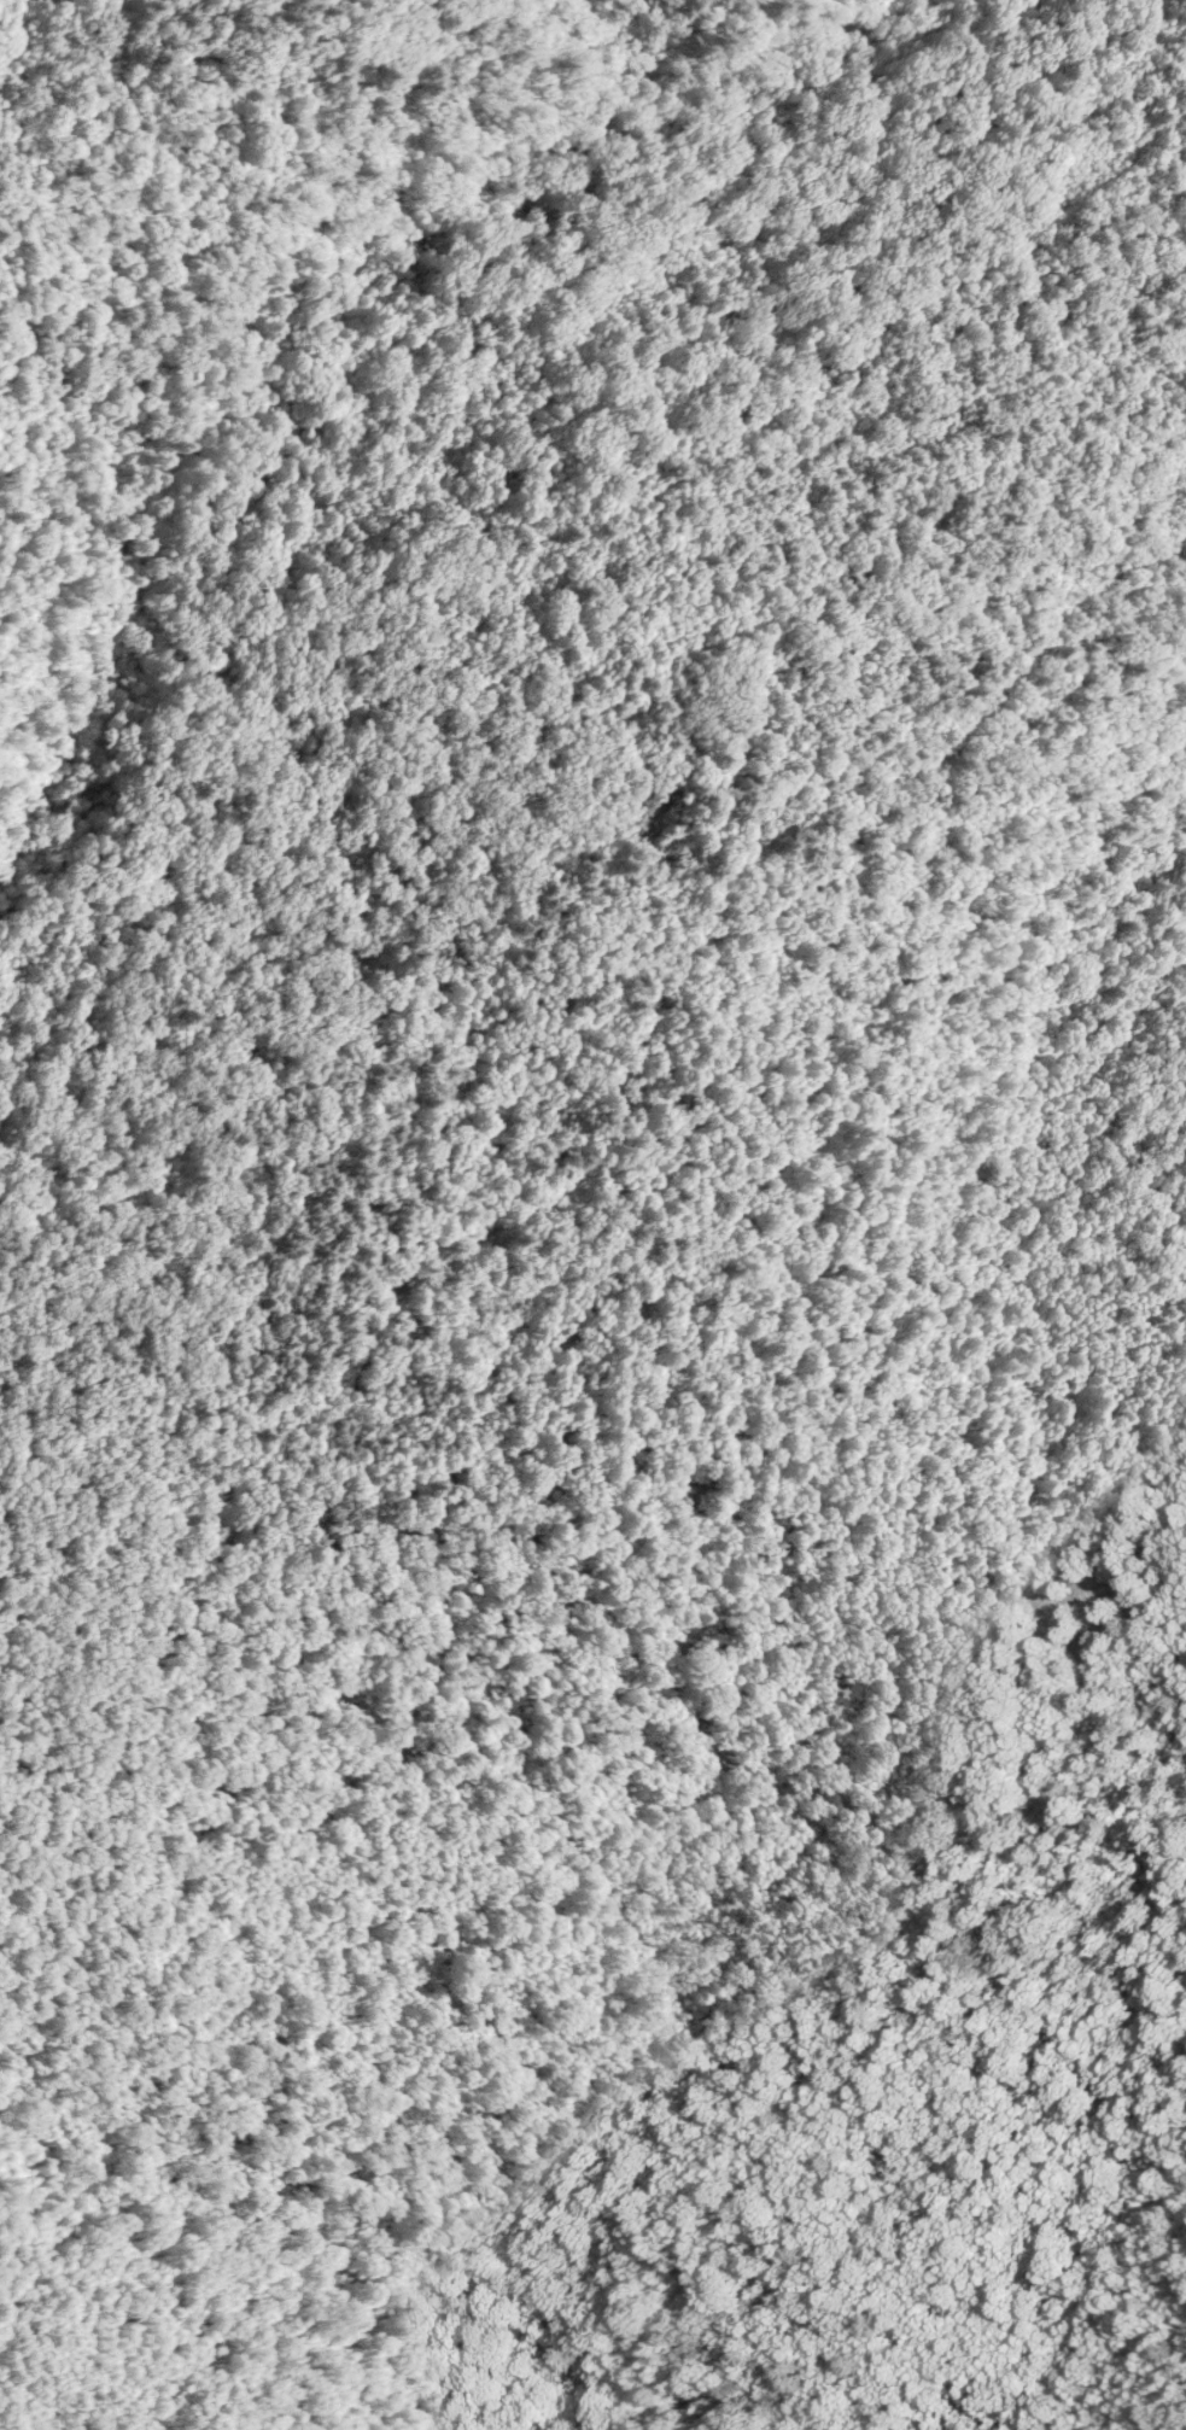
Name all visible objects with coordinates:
building: (1106, 1572)

